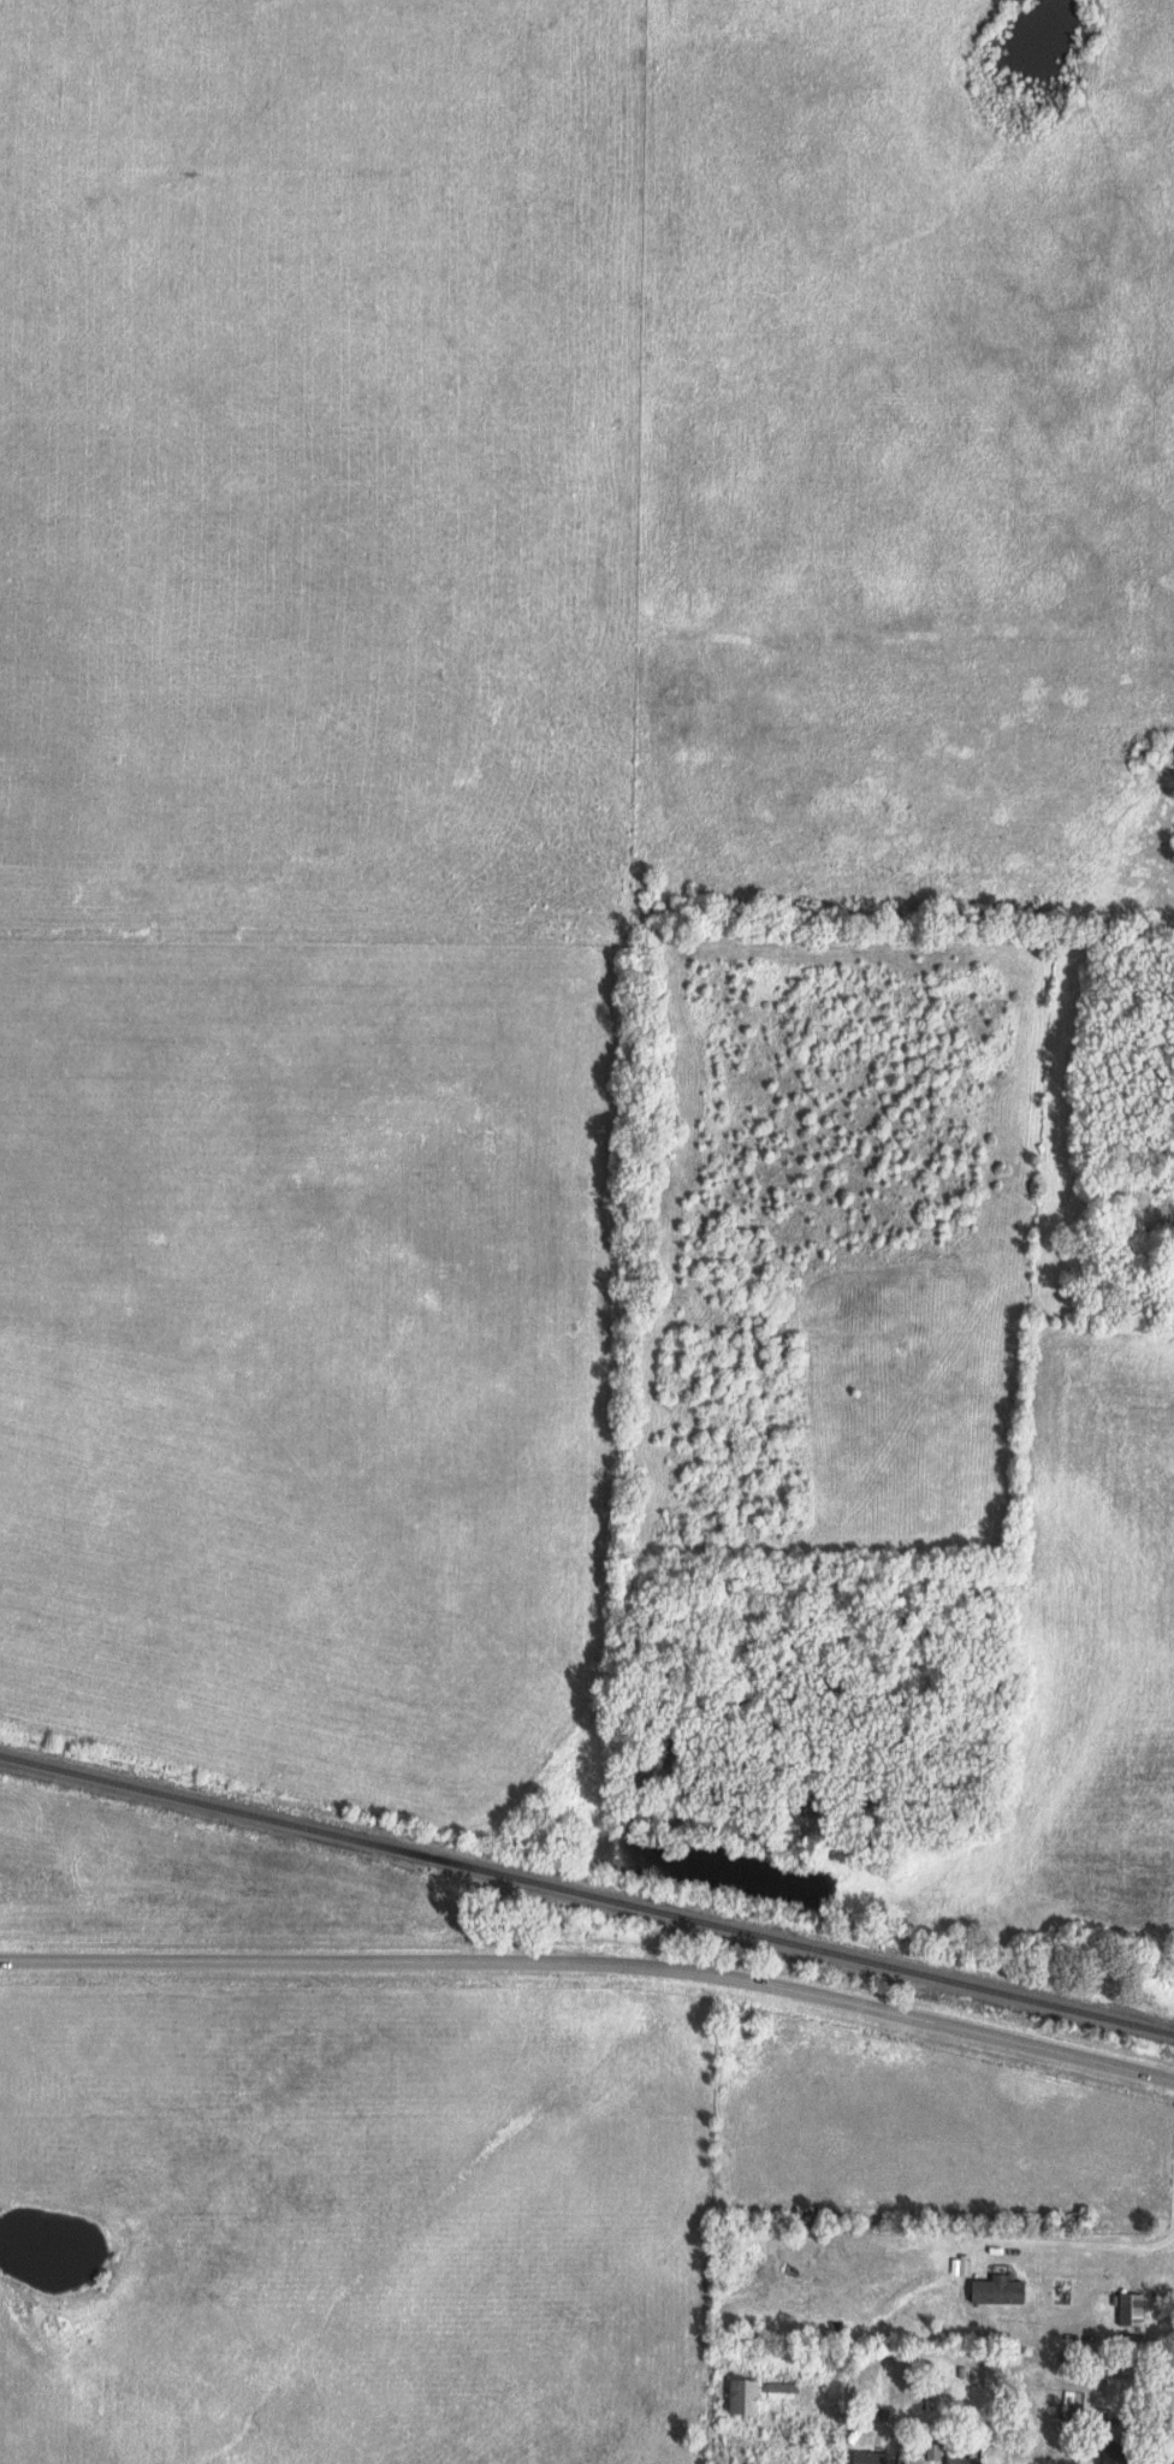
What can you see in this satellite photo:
railway: (586, 1896)
road: (593, 1963)
road: (1071, 2237)
building: (1000, 2291)
building: (1133, 2309)
building: (746, 2398)
building: (1117, 2454)
building: (871, 2458)
building: (962, 2459)

